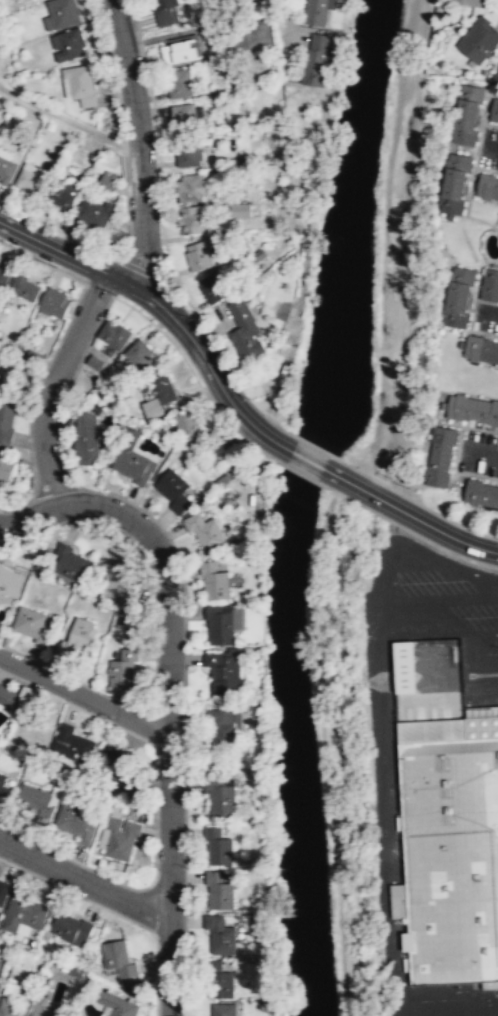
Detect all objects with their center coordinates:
building: (471, 2)
building: (162, 3)
building: (314, 12)
building: (60, 14)
building: (477, 38)
building: (69, 44)
building: (180, 47)
building: (314, 59)
building: (0, 69)
building: (497, 71)
building: (179, 82)
building: (80, 84)
building: (493, 108)
building: (184, 113)
building: (465, 114)
road: (137, 117)
road: (71, 121)
parking lot: (488, 147)
building: (188, 155)
building: (6, 169)
building: (31, 181)
building: (452, 181)
building: (196, 186)
building: (487, 186)
building: (63, 193)
building: (240, 209)
building: (95, 212)
building: (191, 219)
road: (48, 225)
road: (384, 246)
building: (201, 253)
building: (258, 254)
road: (128, 256)
road: (42, 261)
street lamp: (56, 266)
road: (155, 270)
building: (3, 276)
building: (489, 284)
building: (214, 286)
building: (24, 287)
street lamp: (115, 294)
building: (456, 295)
building: (55, 302)
road: (162, 307)
road: (488, 308)
parking lot: (486, 316)
street lamp: (194, 317)
building: (245, 329)
building: (111, 334)
building: (480, 348)
building: (137, 355)
building: (32, 357)
building: (92, 362)
road: (26, 375)
street lamp: (27, 378)
road: (53, 386)
building: (163, 389)
road: (32, 401)
street lamp: (253, 401)
building: (154, 409)
building: (471, 409)
building: (7, 416)
building: (190, 427)
building: (87, 438)
road: (479, 452)
parking lot: (478, 453)
building: (439, 455)
building: (131, 458)
road: (306, 459)
building: (6, 469)
building: (174, 490)
building: (480, 492)
road: (413, 517)
road: (27, 518)
building: (203, 529)
building: (71, 562)
road: (449, 567)
building: (214, 580)
building: (10, 581)
building: (120, 582)
parking lot: (450, 585)
road: (469, 598)
road: (405, 602)
building: (220, 622)
building: (32, 623)
road: (484, 634)
building: (76, 638)
building: (402, 665)
building: (123, 667)
building: (224, 669)
building: (25, 694)
road: (84, 694)
building: (5, 695)
road: (170, 721)
building: (224, 726)
building: (72, 743)
street lamp: (189, 758)
building: (118, 769)
building: (5, 788)
building: (220, 796)
building: (36, 800)
road: (382, 809)
building: (77, 821)
building: (120, 837)
building: (218, 846)
building: (448, 848)
road: (85, 880)
building: (3, 890)
building: (219, 890)
building: (22, 911)
road: (113, 913)
building: (69, 926)
building: (220, 934)
building: (119, 958)
building: (0, 961)
building: (75, 971)
building: (18, 973)
building: (218, 978)
road: (458, 1001)
building: (117, 1004)
building: (40, 1007)
building: (8, 1008)
road: (418, 1008)
building: (222, 1009)
road: (463, 1009)
parking lot: (446, 1014)

